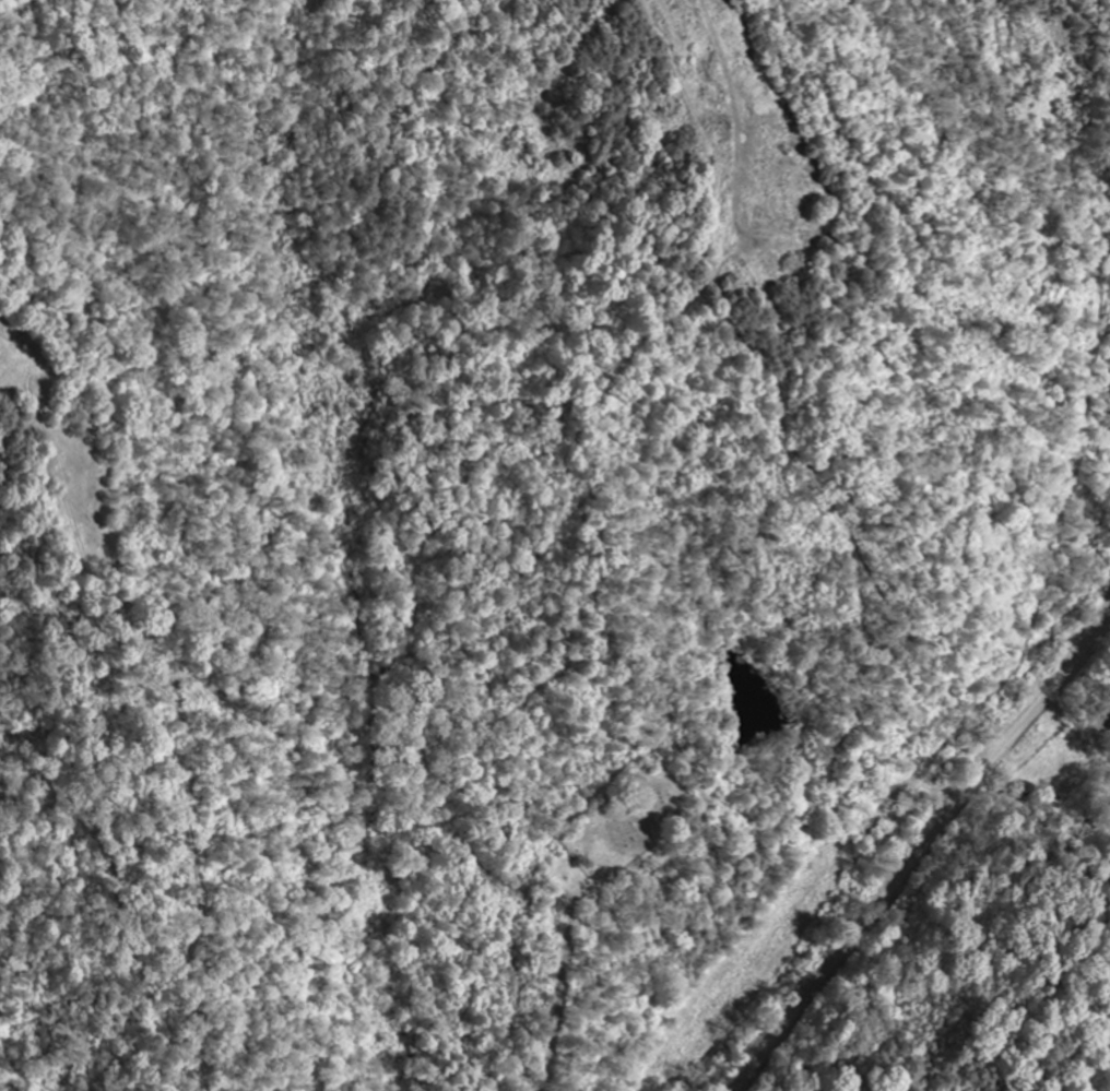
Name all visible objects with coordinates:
road: (925, 847)

